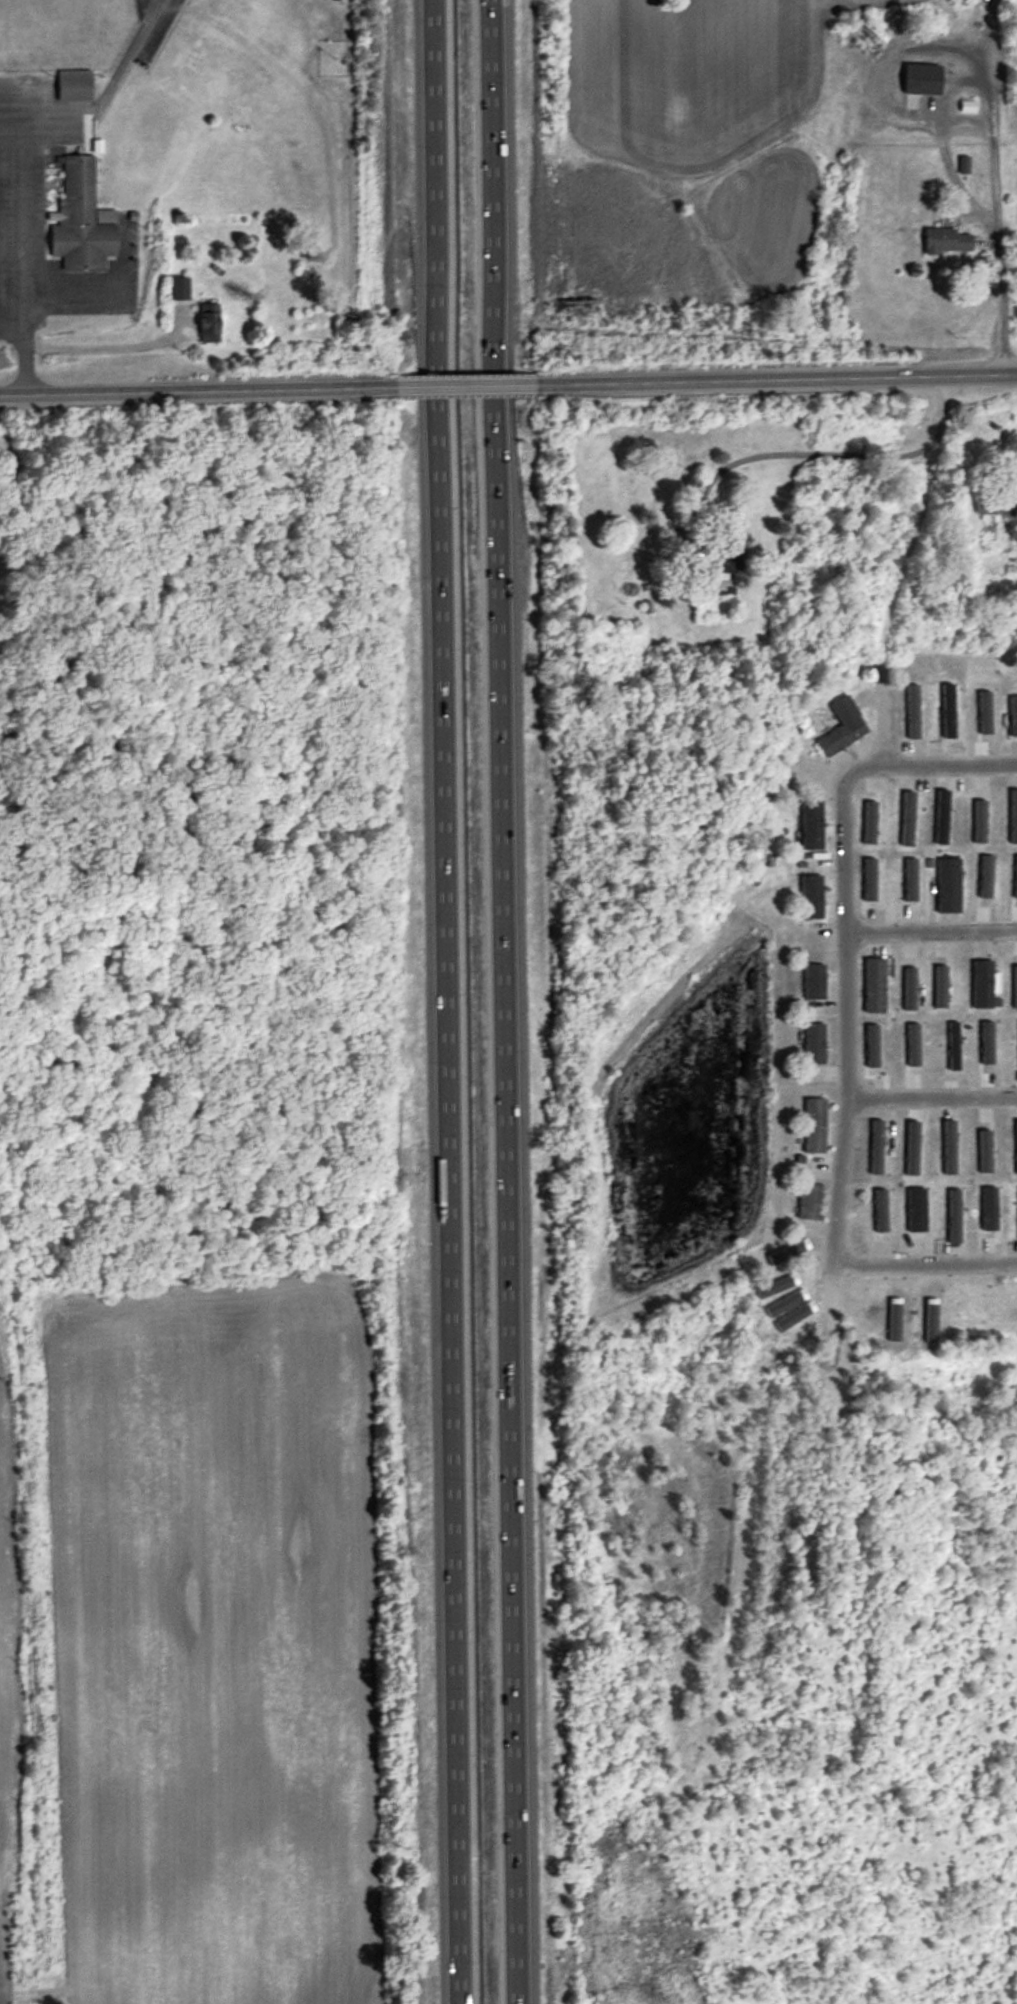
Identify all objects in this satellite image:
building: (930, 81)
building: (74, 86)
road: (23, 93)
road: (991, 128)
road: (23, 158)
building: (82, 221)
building: (947, 242)
building: (180, 289)
building: (1016, 315)
building: (210, 324)
road: (12, 327)
road: (107, 347)
road: (776, 374)
road: (467, 382)
road: (198, 387)
road: (827, 454)
building: (989, 504)
building: (1011, 505)
building: (716, 565)
building: (1013, 717)
building: (844, 728)
road: (931, 765)
building: (812, 826)
building: (948, 886)
building: (811, 897)
road: (932, 931)
building: (982, 983)
building: (875, 985)
road: (445, 1001)
road: (504, 1001)
road: (848, 1043)
building: (814, 1044)
building: (953, 1045)
road: (933, 1098)
building: (814, 1126)
building: (809, 1202)
road: (925, 1263)
building: (964, 1314)
road: (0, 1999)

